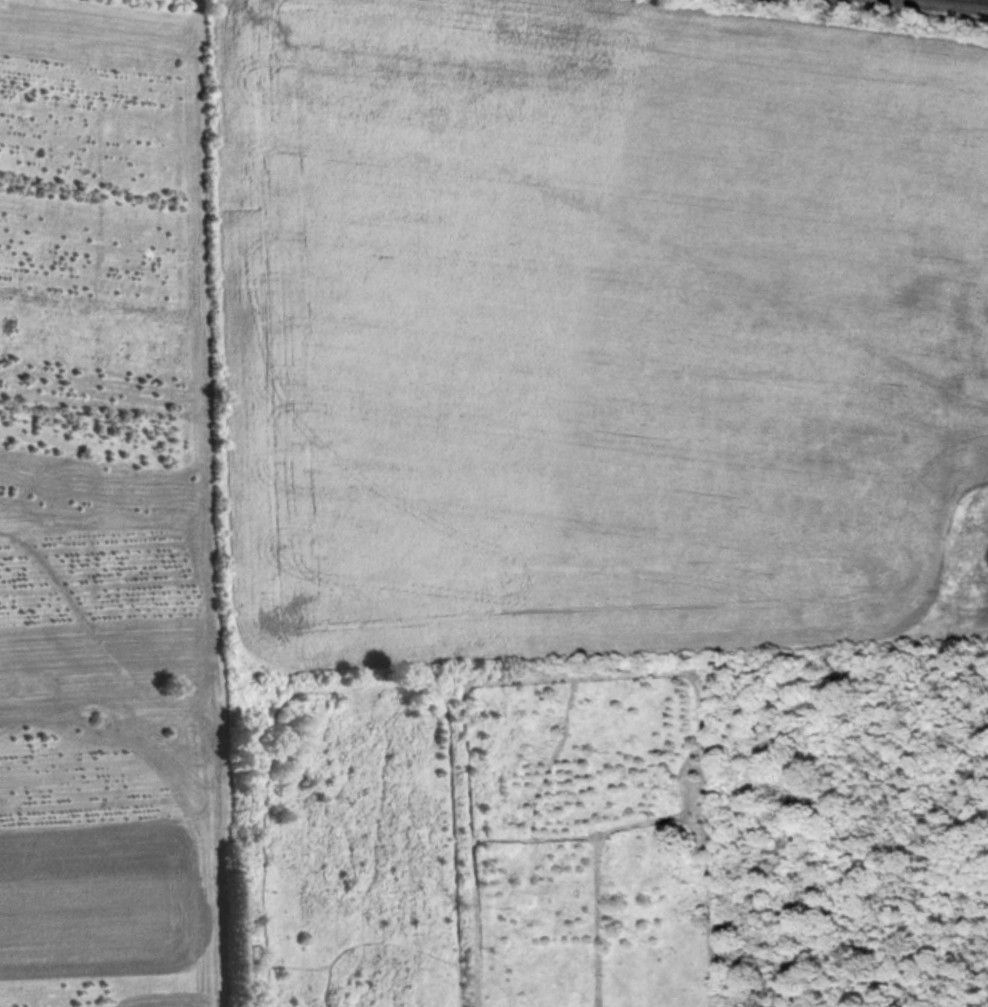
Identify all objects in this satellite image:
railway: (986, 0)

